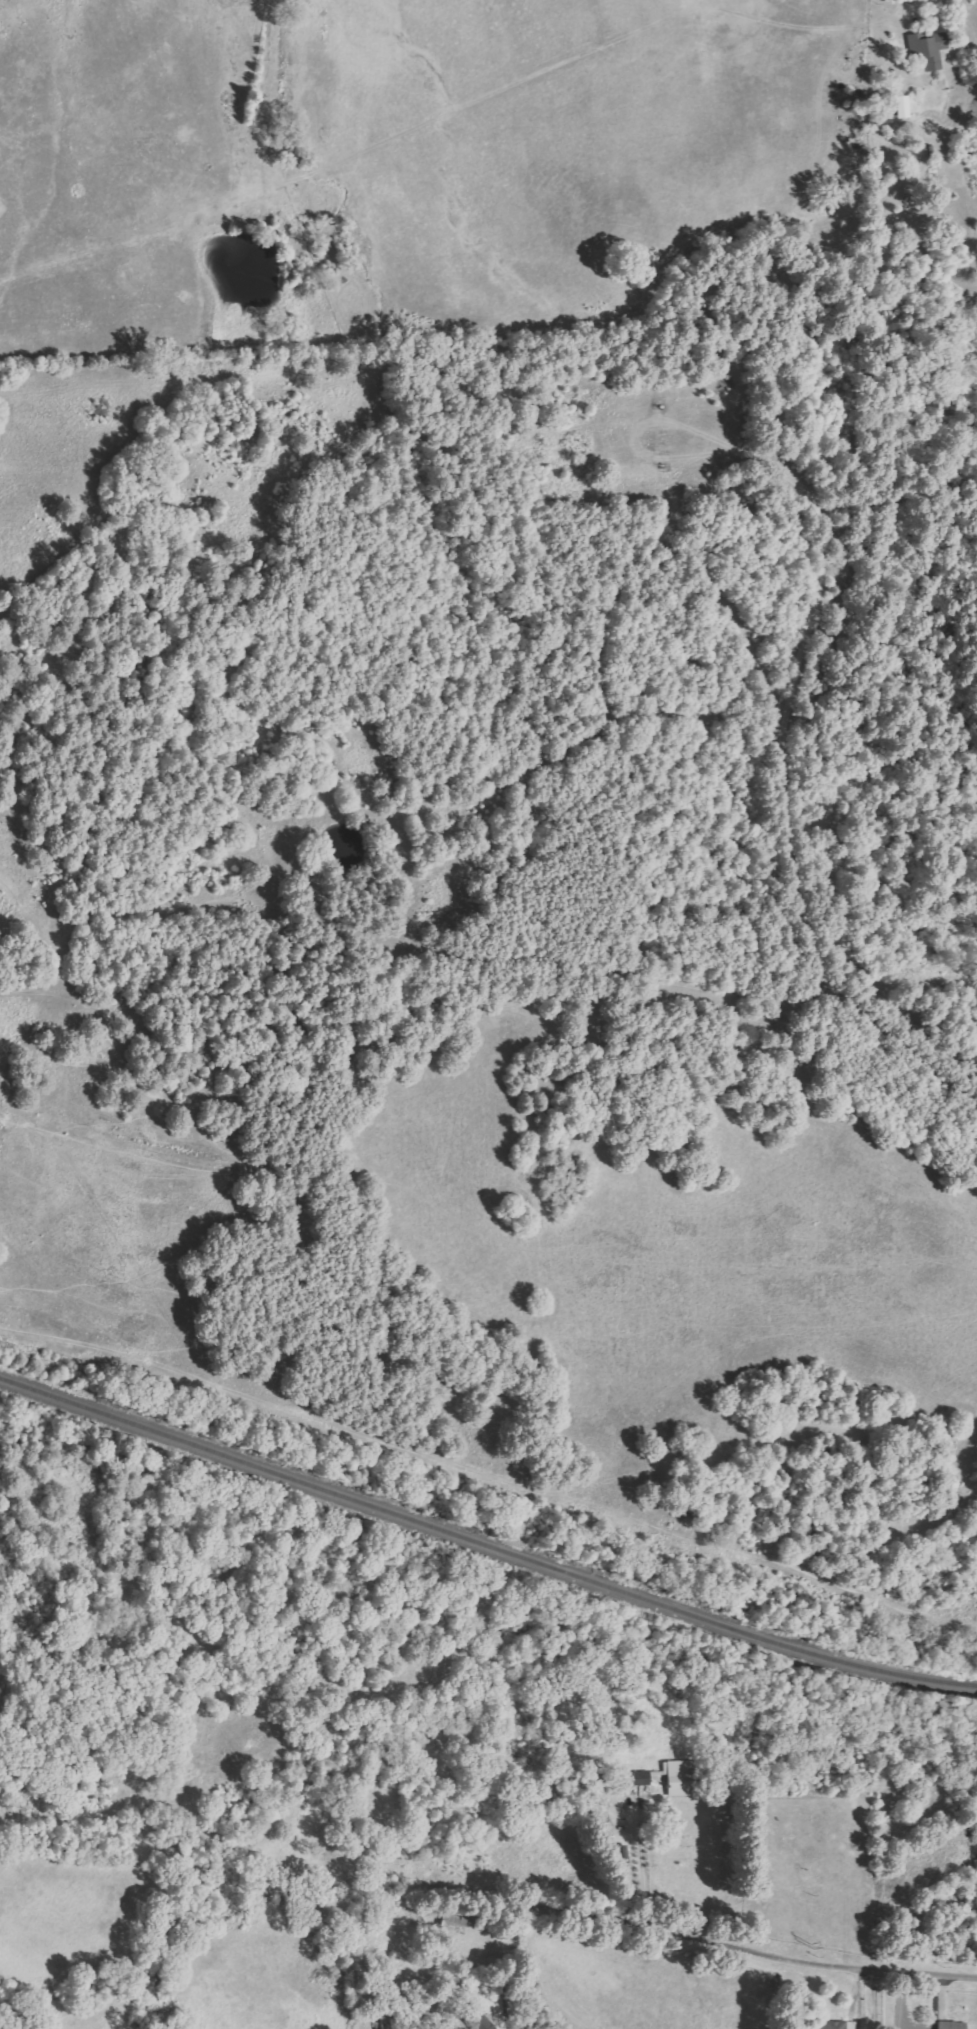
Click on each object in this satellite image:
building: (926, 49)
building: (899, 109)
railway: (485, 1544)
building: (637, 1779)
building: (674, 1779)
power tower: (802, 1939)
road: (808, 1963)
building: (387, 2022)
building: (833, 2025)
building: (949, 2025)

